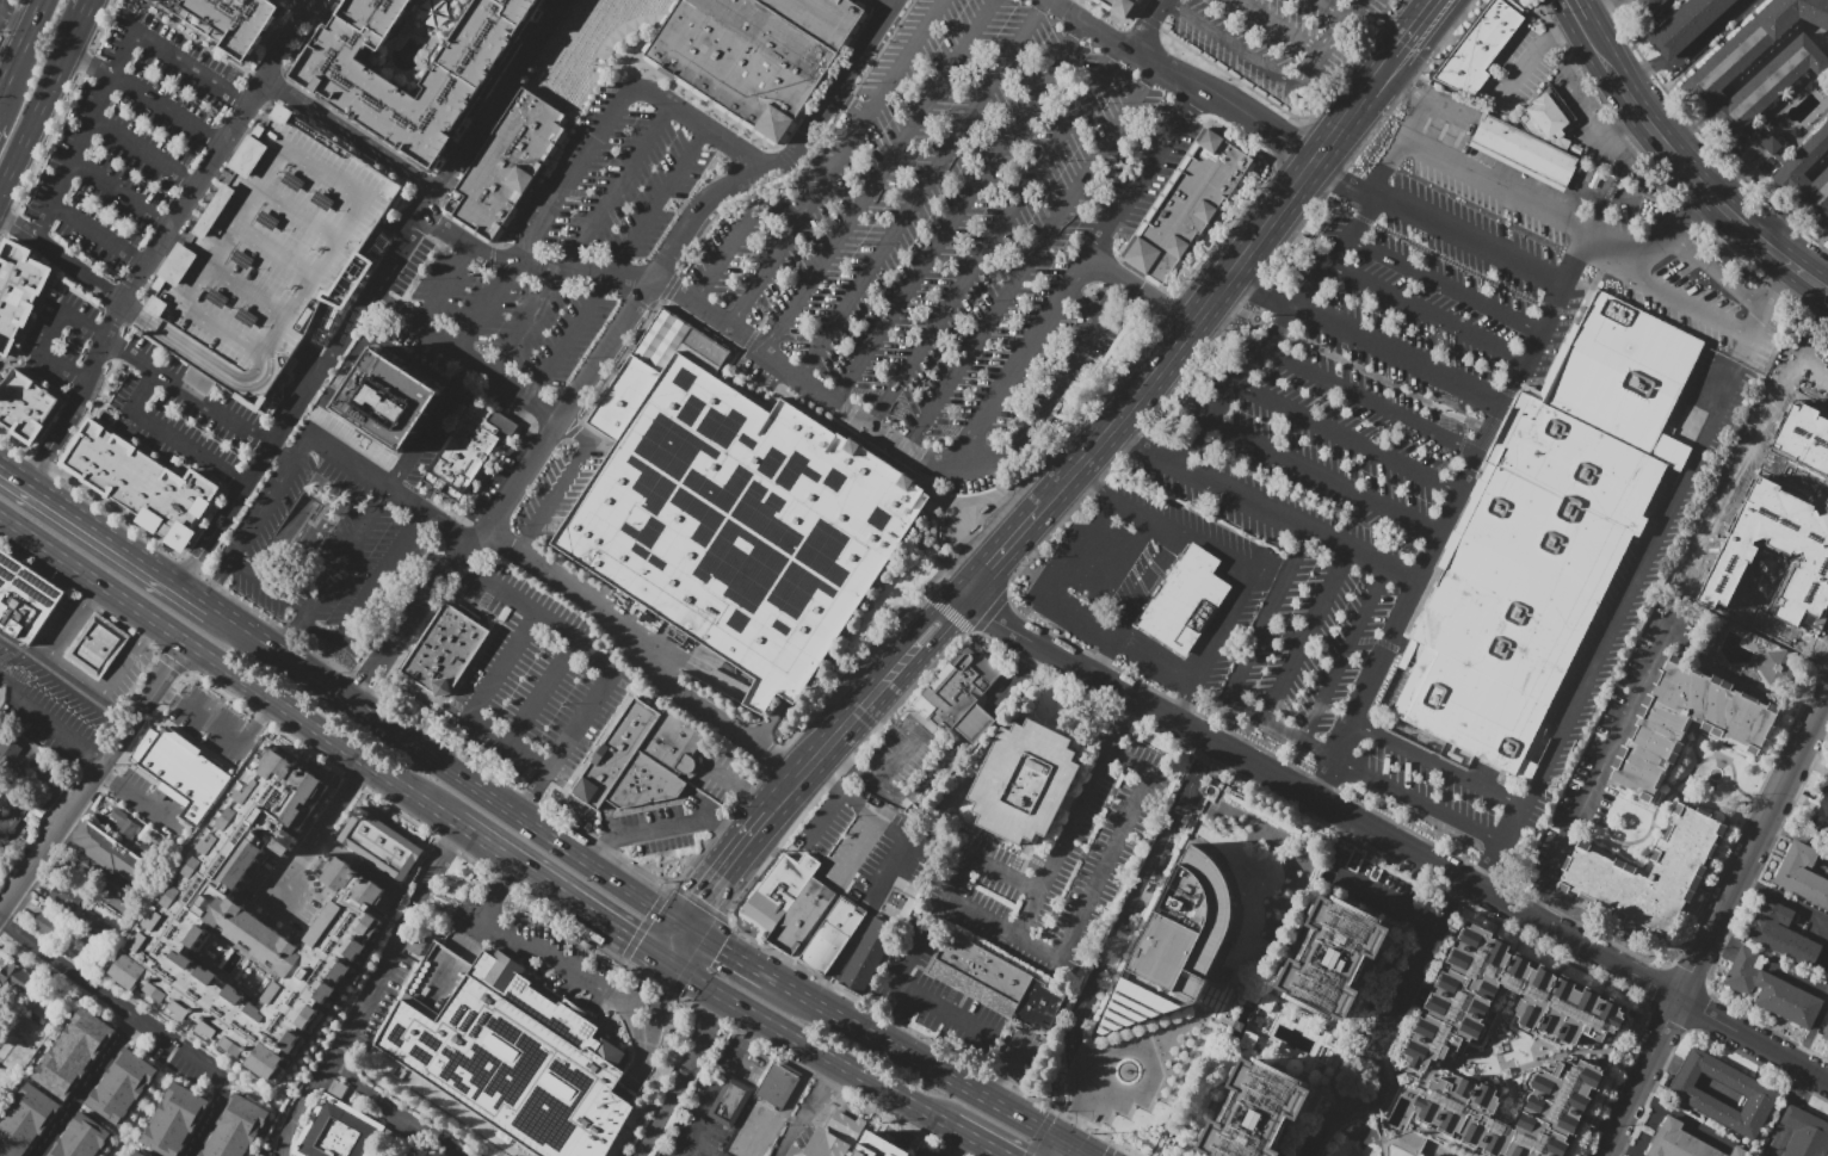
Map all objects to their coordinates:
road: (308, 0)
building: (1649, 5)
building: (1119, 6)
road: (84, 7)
road: (320, 8)
road: (1330, 8)
road: (1571, 11)
road: (1594, 11)
parking lot: (7, 16)
road: (546, 16)
building: (821, 18)
road: (14, 19)
building: (224, 20)
road: (1147, 24)
building: (1686, 25)
road: (1280, 26)
road: (529, 27)
road: (1419, 29)
parking lot: (422, 31)
road: (1561, 31)
road: (1435, 36)
parking lot: (1280, 41)
road: (1327, 42)
road: (641, 43)
road: (1230, 43)
road: (20, 44)
road: (1592, 45)
building: (1478, 48)
road: (1774, 49)
road: (1685, 55)
building: (741, 58)
road: (86, 63)
road: (1520, 70)
building: (1781, 72)
road: (186, 75)
road: (1186, 76)
building: (351, 87)
road: (1419, 101)
road: (41, 103)
road: (852, 104)
road: (1715, 104)
road: (1585, 105)
road: (480, 106)
road: (163, 113)
building: (1549, 118)
road: (1686, 130)
road: (81, 135)
road: (348, 136)
road: (722, 136)
building: (1768, 141)
parking lot: (123, 142)
road: (453, 148)
building: (1524, 150)
building: (1224, 153)
road: (141, 155)
building: (512, 163)
road: (835, 166)
road: (1817, 167)
building: (1213, 169)
road: (1471, 175)
building: (1789, 175)
road: (879, 179)
building: (1203, 183)
road: (1799, 187)
road: (1706, 190)
road: (921, 191)
road: (118, 196)
building: (1193, 197)
road: (555, 202)
road: (959, 214)
building: (1182, 214)
road: (178, 215)
road: (1773, 216)
road: (1680, 222)
road: (1439, 225)
road: (16, 227)
parking lot: (955, 229)
building: (1171, 229)
road: (993, 236)
road: (737, 237)
road: (95, 239)
road: (585, 241)
building: (1159, 247)
road: (1249, 249)
parking lot: (554, 252)
building: (267, 256)
road: (1029, 258)
road: (619, 264)
building: (1148, 264)
road: (82, 277)
road: (1072, 279)
road: (1824, 279)
road: (375, 285)
road: (1774, 286)
road: (445, 288)
road: (1446, 288)
building: (18, 290)
road: (1138, 292)
parking lot: (231, 307)
road: (691, 307)
road: (1428, 316)
road: (1747, 328)
road: (1278, 332)
road: (50, 333)
road: (615, 336)
road: (1366, 339)
road: (463, 356)
road: (20, 360)
road: (1811, 378)
parking lot: (134, 388)
road: (1056, 389)
building: (387, 400)
road: (197, 401)
road: (1371, 401)
road: (1502, 404)
building: (25, 406)
parking lot: (1403, 421)
road: (165, 435)
building: (1804, 437)
road: (1348, 438)
road: (1141, 450)
building: (462, 455)
road: (43, 457)
road: (1083, 459)
parking lot: (498, 475)
road: (1323, 478)
road: (566, 481)
building: (138, 483)
road: (385, 486)
road: (388, 486)
road: (1094, 486)
road: (1054, 493)
road: (268, 496)
road: (1241, 496)
building: (737, 518)
building: (296, 520)
road: (1026, 524)
parking lot: (339, 527)
road: (106, 531)
building: (1542, 540)
road: (49, 546)
building: (1736, 552)
road: (1360, 554)
road: (193, 558)
road: (1242, 561)
road: (986, 568)
road: (1120, 569)
road: (64, 573)
road: (215, 577)
road: (1061, 579)
road: (1149, 582)
road: (267, 585)
parking lot: (1155, 589)
road: (370, 596)
building: (25, 598)
road: (81, 598)
road: (126, 600)
building: (1186, 600)
road: (955, 605)
road: (39, 612)
road: (72, 622)
road: (915, 628)
road: (1610, 629)
road: (169, 630)
road: (294, 630)
road: (1791, 636)
road: (19, 644)
road: (935, 644)
building: (95, 645)
road: (637, 653)
road: (1344, 653)
building: (440, 654)
road: (1157, 655)
road: (1105, 656)
road: (126, 660)
road: (600, 661)
building: (1777, 668)
road: (229, 669)
road: (895, 670)
road: (78, 673)
road: (66, 678)
parking lot: (538, 678)
road: (1017, 680)
road: (1365, 688)
road: (543, 692)
building: (1, 694)
building: (959, 694)
road: (871, 698)
road: (1186, 700)
road: (478, 705)
road: (1245, 709)
road: (1126, 717)
road: (47, 723)
building: (1686, 723)
road: (975, 724)
road: (221, 730)
road: (399, 732)
road: (1298, 737)
building: (623, 742)
building: (672, 743)
road: (1694, 746)
road: (1719, 746)
building: (7, 750)
parking lot: (903, 750)
road: (1610, 750)
road: (897, 756)
road: (364, 760)
road: (1434, 762)
road: (811, 765)
road: (850, 766)
building: (181, 769)
parking lot: (718, 773)
road: (93, 775)
building: (653, 780)
road: (921, 781)
building: (1024, 781)
road: (1674, 787)
road: (1674, 790)
building: (589, 791)
road: (736, 791)
building: (622, 792)
road: (842, 793)
road: (137, 799)
road: (1317, 799)
road: (1416, 800)
building: (1823, 802)
building: (12, 817)
road: (814, 817)
road: (461, 822)
building: (124, 824)
parking lot: (662, 826)
road: (666, 826)
parking lot: (813, 826)
road: (321, 828)
road: (1657, 828)
road: (1068, 834)
road: (1797, 835)
building: (370, 837)
road: (1754, 847)
building: (109, 852)
road: (856, 852)
building: (402, 859)
parking lot: (883, 860)
road: (983, 861)
parking lot: (1056, 865)
road: (725, 871)
building: (1645, 872)
building: (792, 874)
building: (1802, 874)
road: (563, 891)
road: (635, 894)
building: (68, 896)
road: (1136, 897)
road: (1383, 897)
road: (1089, 900)
road: (1538, 900)
traffic signals: (703, 901)
road: (1792, 902)
road: (872, 905)
building: (801, 916)
building: (253, 920)
building: (51, 925)
building: (1785, 934)
building: (832, 935)
traffic signals: (629, 936)
road: (703, 938)
road: (524, 944)
road: (675, 944)
building: (1175, 944)
traffic signals: (721, 948)
parking lot: (542, 953)
building: (867, 956)
building: (1332, 958)
road: (1775, 959)
road: (745, 962)
road: (903, 963)
road: (654, 968)
road: (665, 973)
building: (981, 973)
building: (17, 977)
road: (368, 988)
building: (1771, 989)
road: (635, 990)
road: (795, 990)
traffic signals: (665, 994)
road: (113, 1001)
building: (66, 1002)
road: (731, 1002)
parking lot: (950, 1004)
building: (1038, 1006)
road: (659, 1009)
road: (898, 1015)
building: (43, 1018)
road: (967, 1020)
road: (1494, 1021)
road: (745, 1024)
building: (16, 1026)
building: (98, 1026)
road: (631, 1026)
road: (1381, 1030)
road: (1811, 1032)
building: (1826, 1034)
building: (1439, 1039)
road: (1753, 1040)
road: (648, 1049)
road: (1150, 1061)
road: (1665, 1061)
building: (512, 1063)
road: (1509, 1063)
road: (1429, 1068)
road: (630, 1074)
road: (1688, 1074)
road: (943, 1075)
road: (1005, 1075)
road: (1081, 1076)
road: (683, 1077)
road: (1638, 1077)
road: (635, 1083)
road: (876, 1083)
road: (84, 1084)
road: (799, 1084)
building: (121, 1086)
building: (776, 1086)
road: (1375, 1087)
road: (1718, 1089)
road: (1509, 1090)
road: (1803, 1090)
building: (1759, 1094)
road: (706, 1095)
building: (729, 1102)
road: (1338, 1106)
road: (807, 1108)
road: (1081, 1111)
building: (1256, 1111)
traffic signals: (1080, 1115)
road: (381, 1117)
road: (1681, 1117)
road: (1791, 1117)
road: (790, 1118)
building: (24, 1119)
building: (174, 1120)
road: (204, 1120)
building: (237, 1129)
building: (338, 1131)
road: (759, 1132)
building: (1804, 1133)
building: (84, 1137)
road: (704, 1137)
building: (833, 1137)
road: (977, 1140)
road: (956, 1142)
building: (1679, 1142)
road: (1779, 1142)
road: (1623, 1148)
building: (879, 1150)
road: (1061, 1150)
road: (1075, 1150)
building: (140, 1151)
building: (1739, 1151)
building: (409, 1154)
road: (950, 1154)
road: (996, 1154)
road: (1440, 1155)
road: (1600, 1155)

